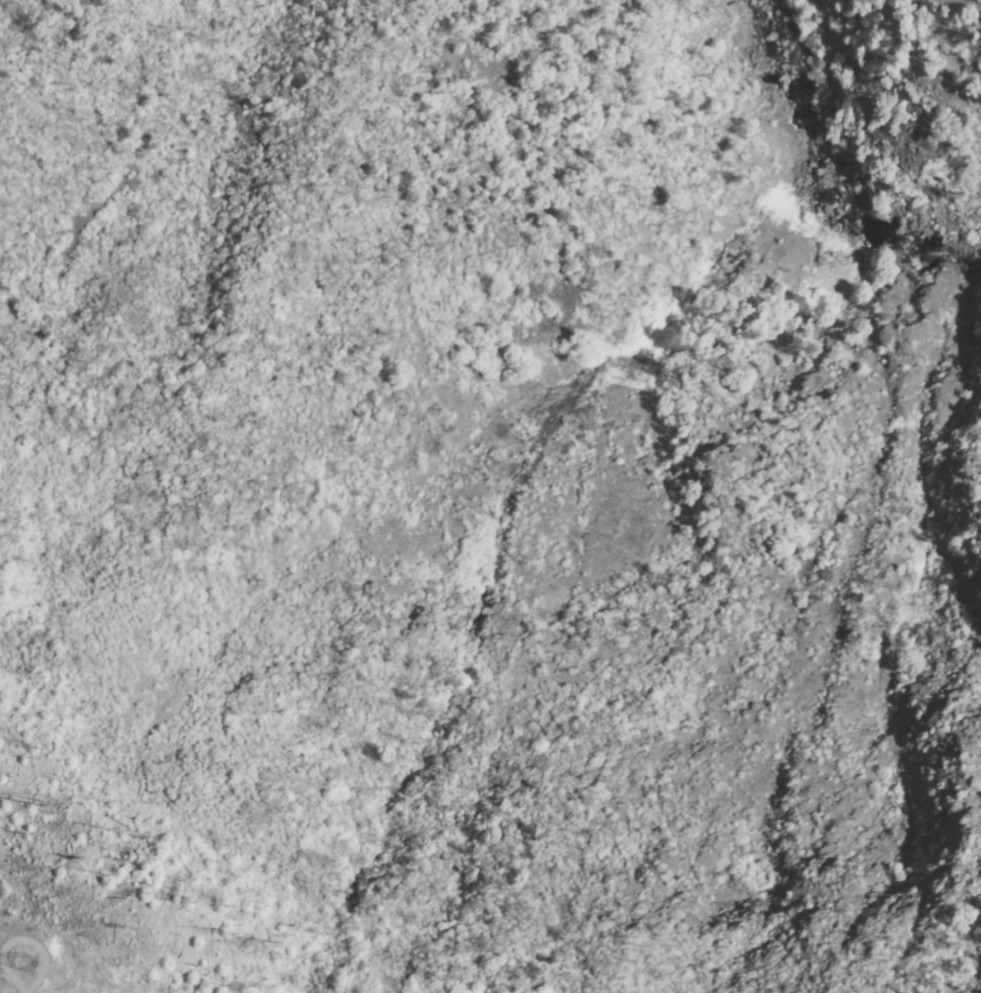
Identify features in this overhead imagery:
river: (828, 171)
road: (24, 939)
power tower: (30, 964)

